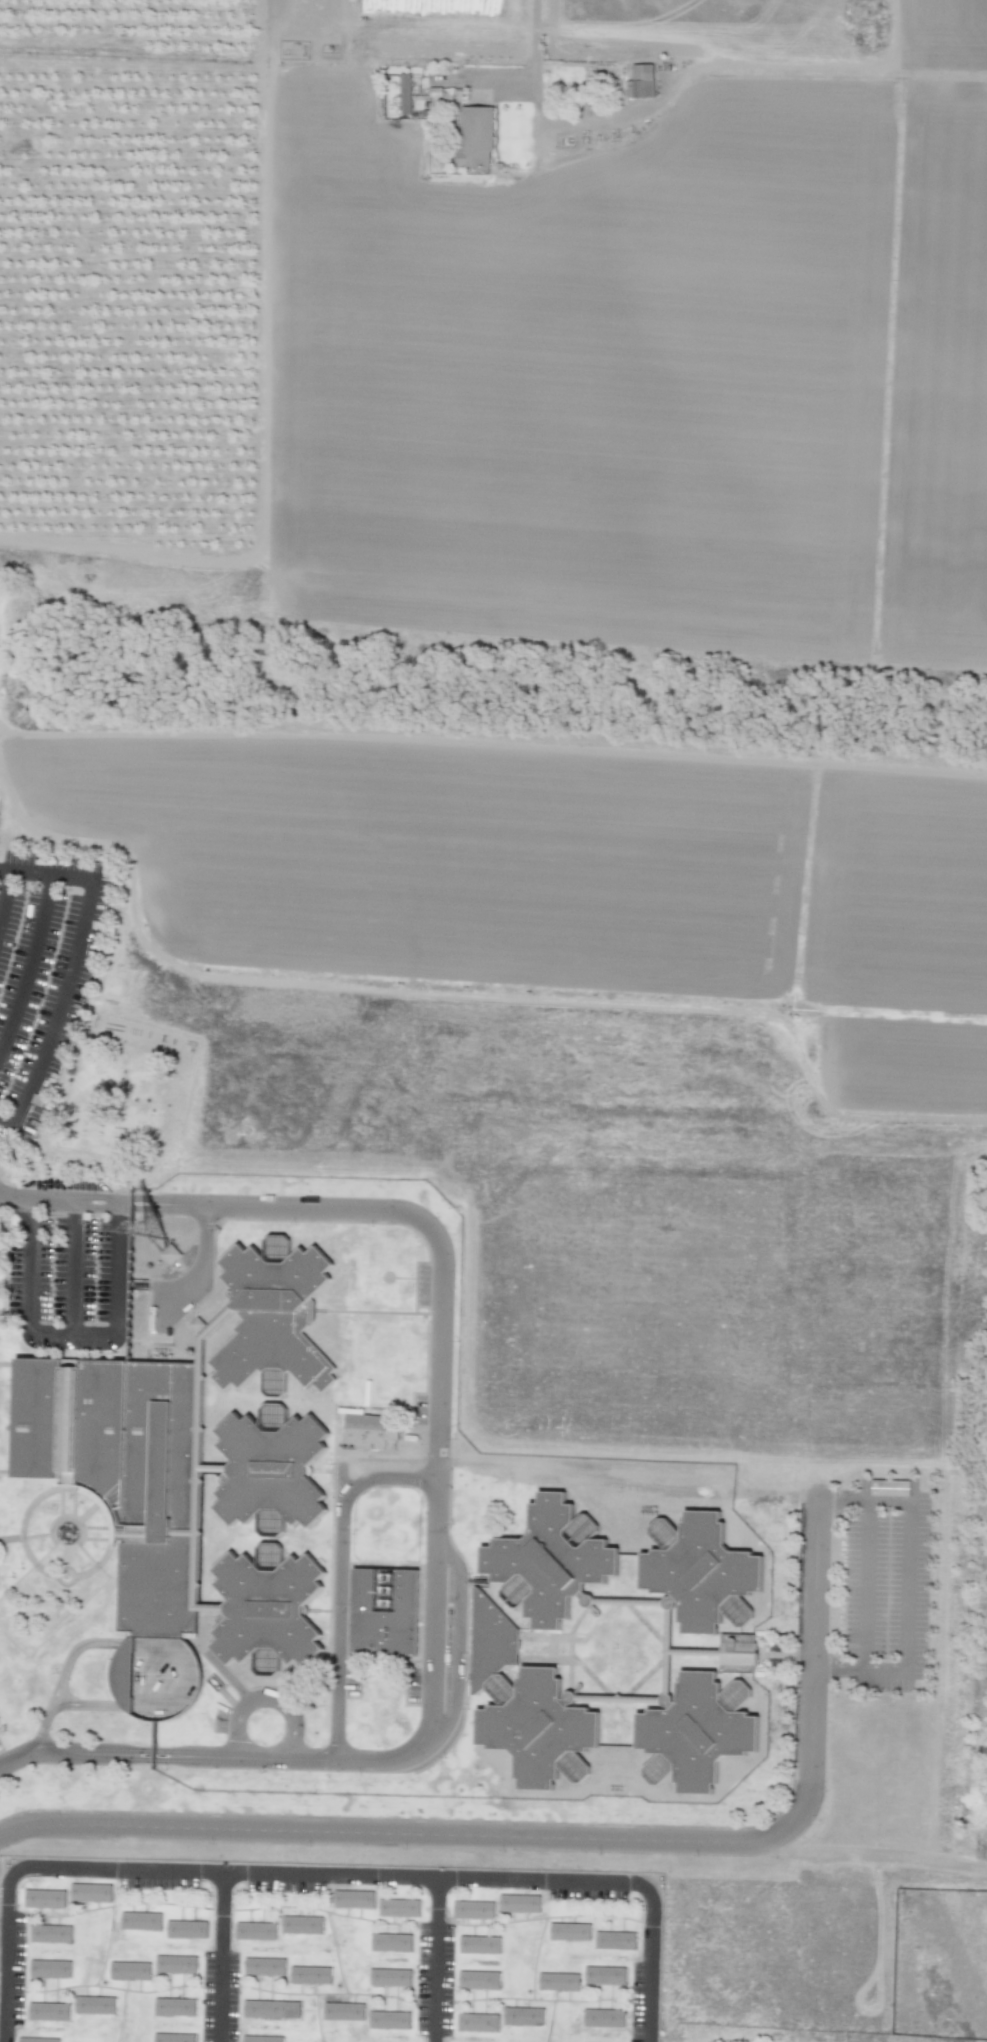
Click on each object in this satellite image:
road: (542, 23)
building: (642, 80)
building: (405, 93)
building: (475, 138)
road: (3, 888)
road: (73, 965)
building: (170, 1254)
building: (136, 1307)
building: (276, 1321)
building: (370, 1431)
building: (127, 1473)
building: (273, 1474)
road: (439, 1479)
building: (890, 1487)
building: (554, 1566)
road: (340, 1577)
building: (706, 1577)
road: (863, 1584)
road: (906, 1587)
building: (270, 1614)
building: (387, 1616)
building: (494, 1645)
building: (737, 1653)
building: (123, 1673)
building: (541, 1734)
building: (703, 1737)
road: (567, 1838)
road: (873, 1857)
road: (327, 1877)
building: (90, 1892)
building: (44, 1898)
building: (353, 1898)
building: (519, 1903)
building: (399, 1907)
building: (473, 1909)
building: (141, 1920)
building: (302, 1924)
building: (186, 1929)
building: (256, 1930)
building: (570, 1931)
building: (51, 1933)
building: (615, 1940)
building: (391, 1942)
building: (479, 1944)
road: (224, 1958)
road: (441, 1961)
building: (176, 1964)
building: (264, 1965)
building: (50, 1968)
building: (130, 1970)
building: (310, 1975)
building: (604, 1975)
building: (390, 1977)
building: (478, 1979)
building: (559, 1981)
building: (95, 2005)
building: (175, 2006)
building: (271, 2009)
building: (48, 2011)
building: (343, 2011)
building: (524, 2016)
building: (603, 2017)
building: (388, 2020)
building: (478, 2022)
building: (174, 2037)
building: (38, 2039)
building: (262, 2039)

